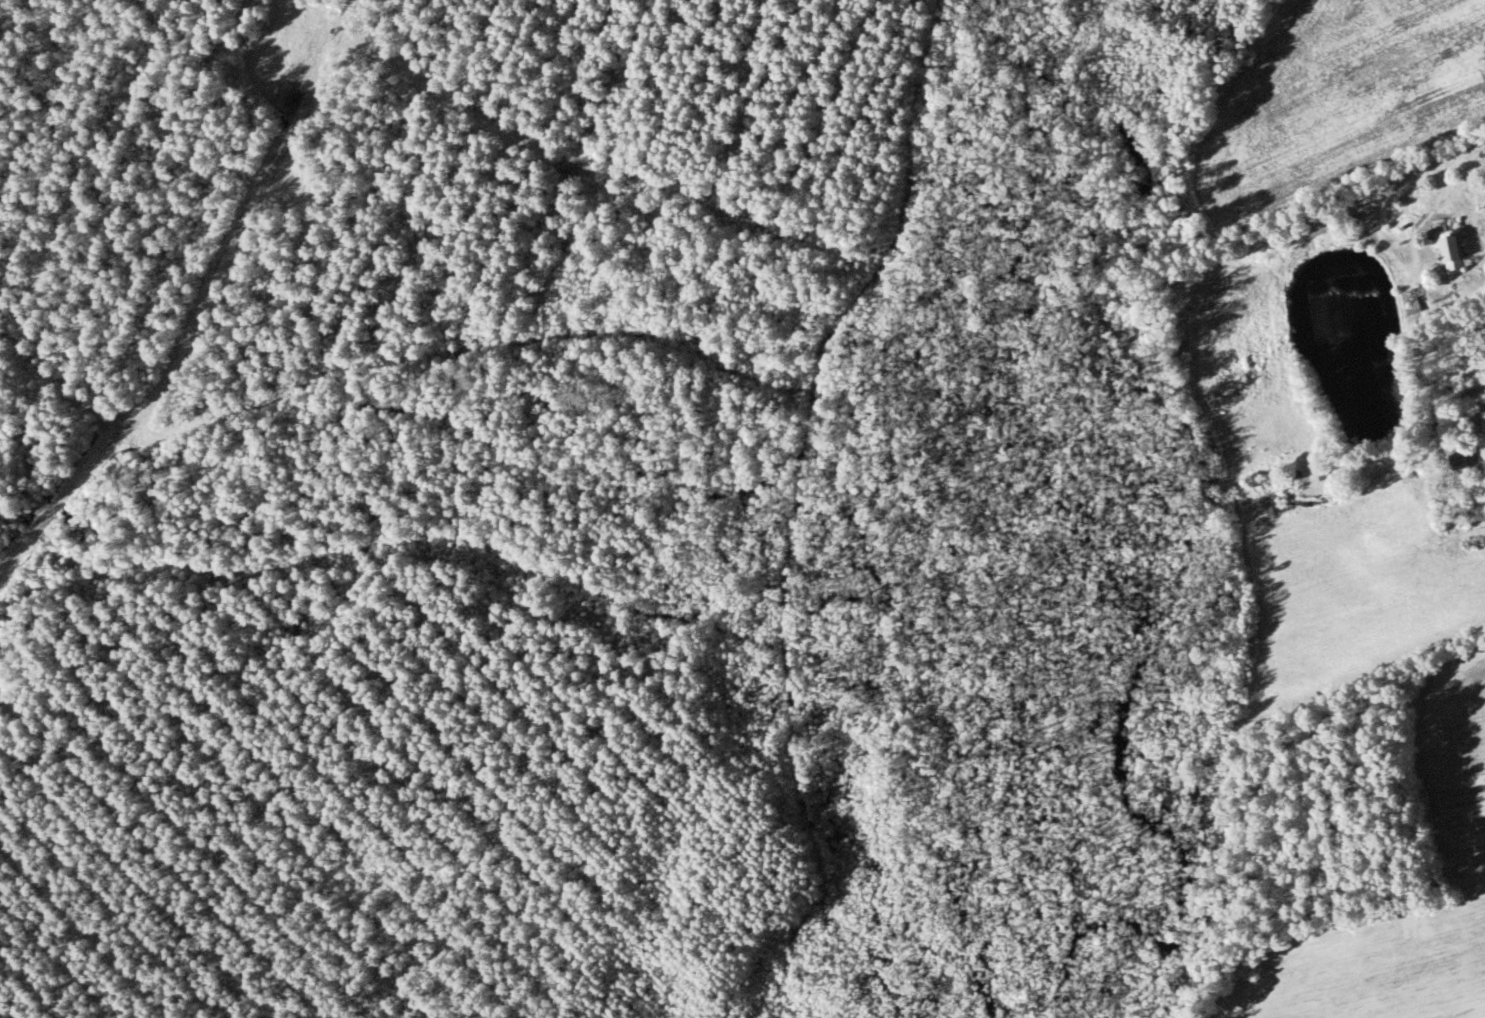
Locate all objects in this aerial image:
building: (1318, 226)
building: (1448, 249)
building: (1408, 302)
building: (1454, 459)

